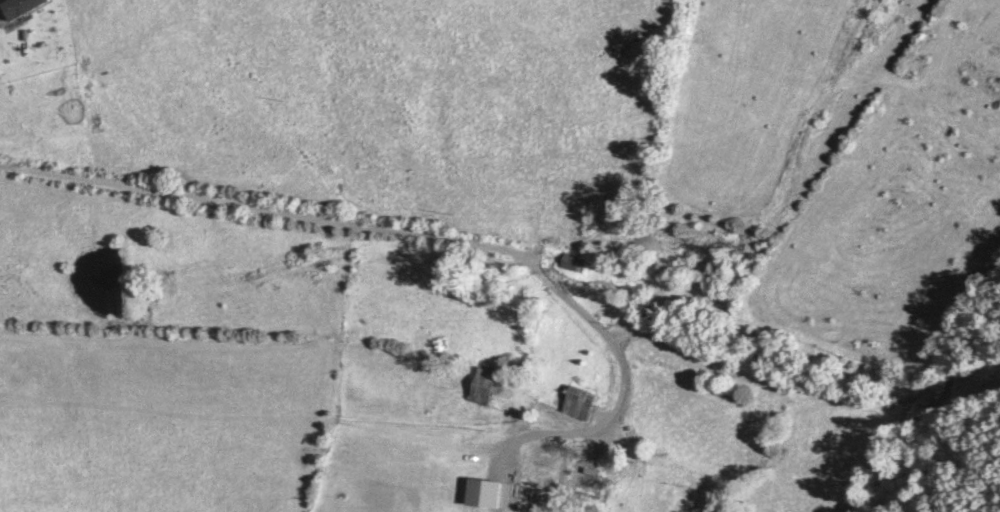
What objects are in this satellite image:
road: (372, 228)
building: (571, 263)
building: (486, 388)
building: (581, 405)
building: (593, 482)

